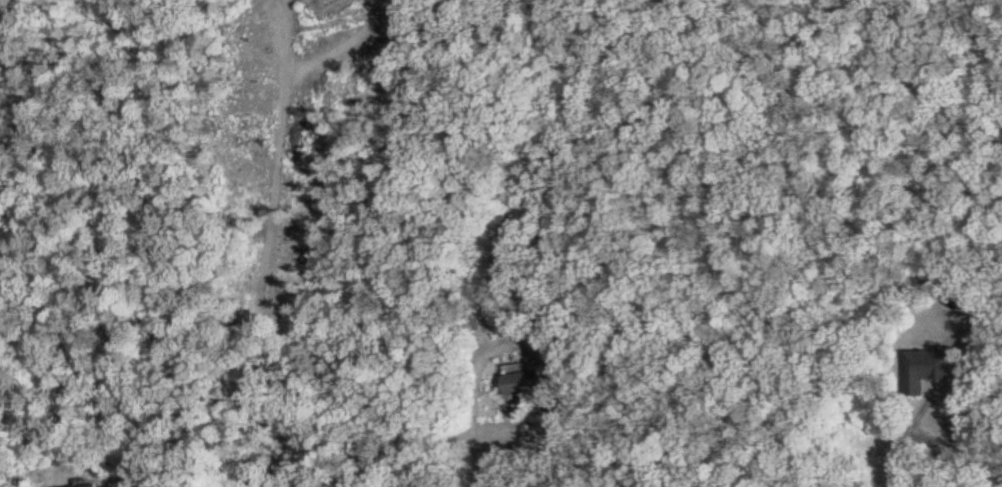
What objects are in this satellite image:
building: (931, 370)
building: (526, 383)
road: (941, 399)
road: (477, 406)
building: (116, 486)

